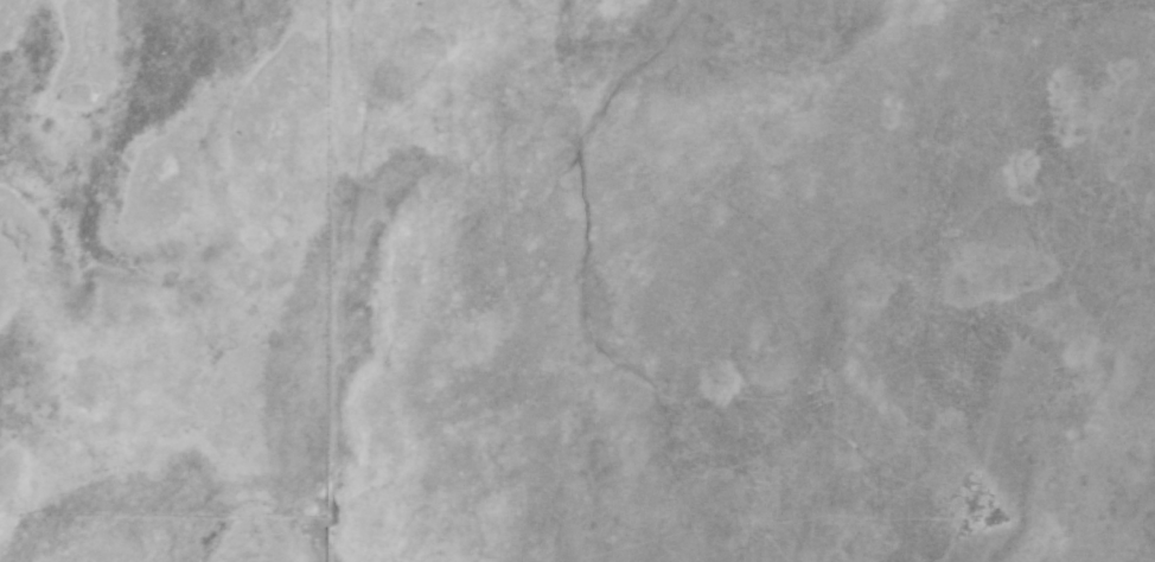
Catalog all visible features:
crop: (36, 146)
crop: (702, 296)

